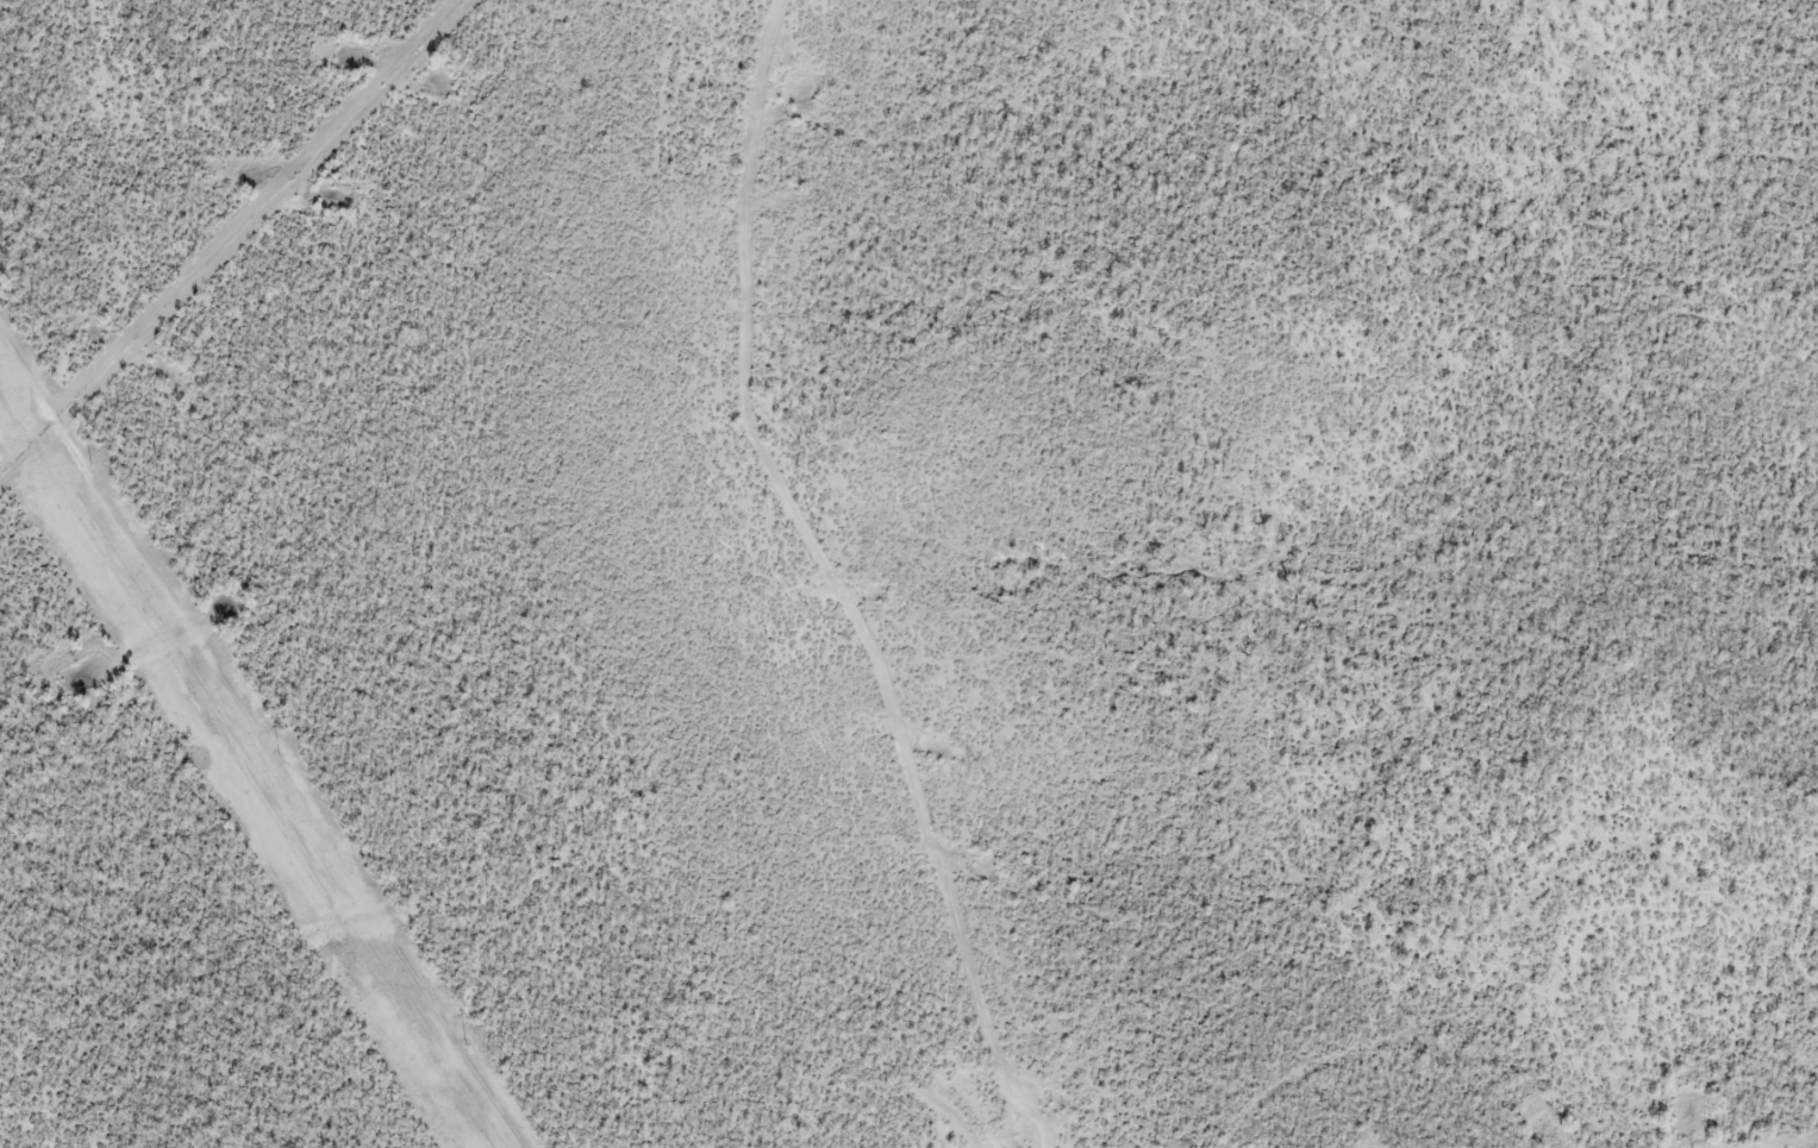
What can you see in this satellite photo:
power tower: (89, 460)
power tower: (279, 753)
power tower: (463, 1043)

